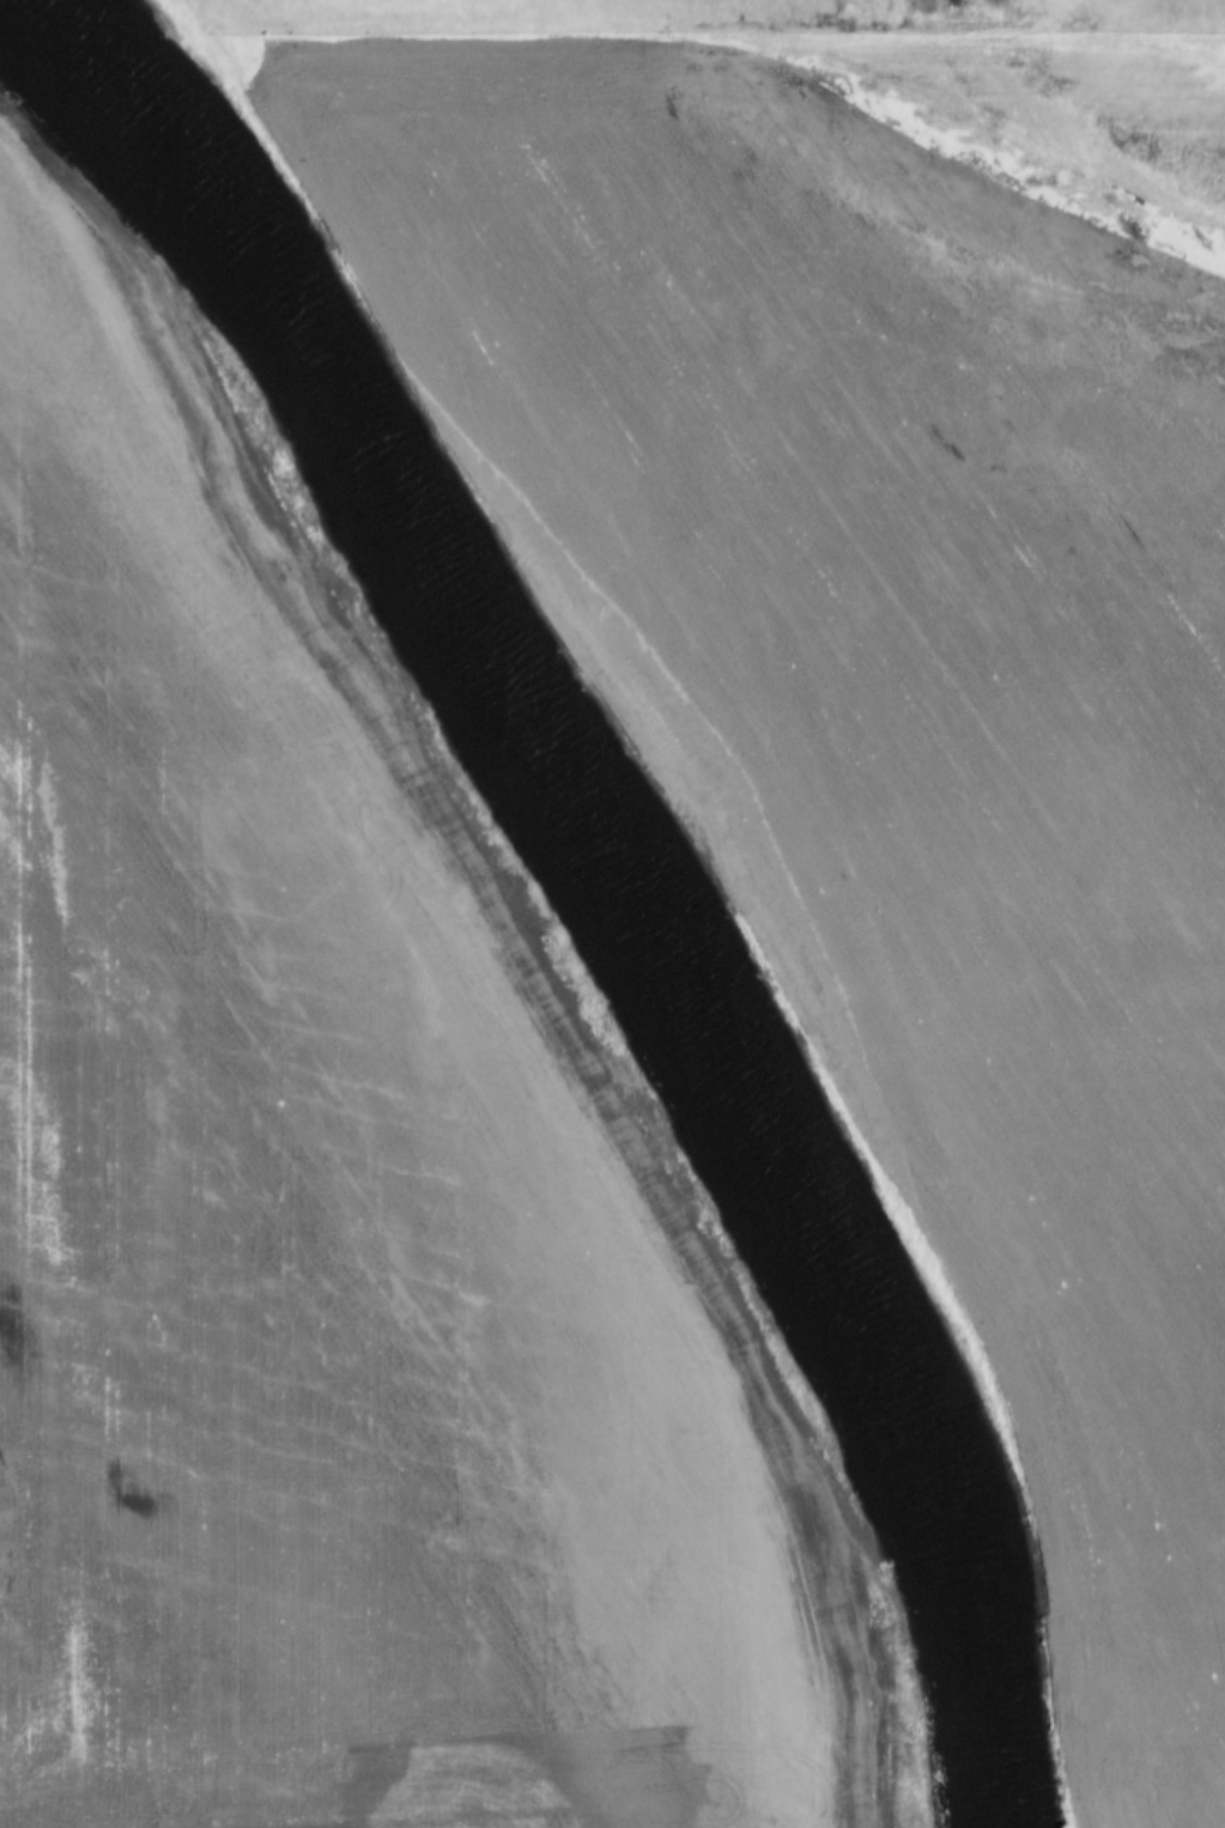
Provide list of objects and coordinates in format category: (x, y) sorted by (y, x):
river: (612, 863)

